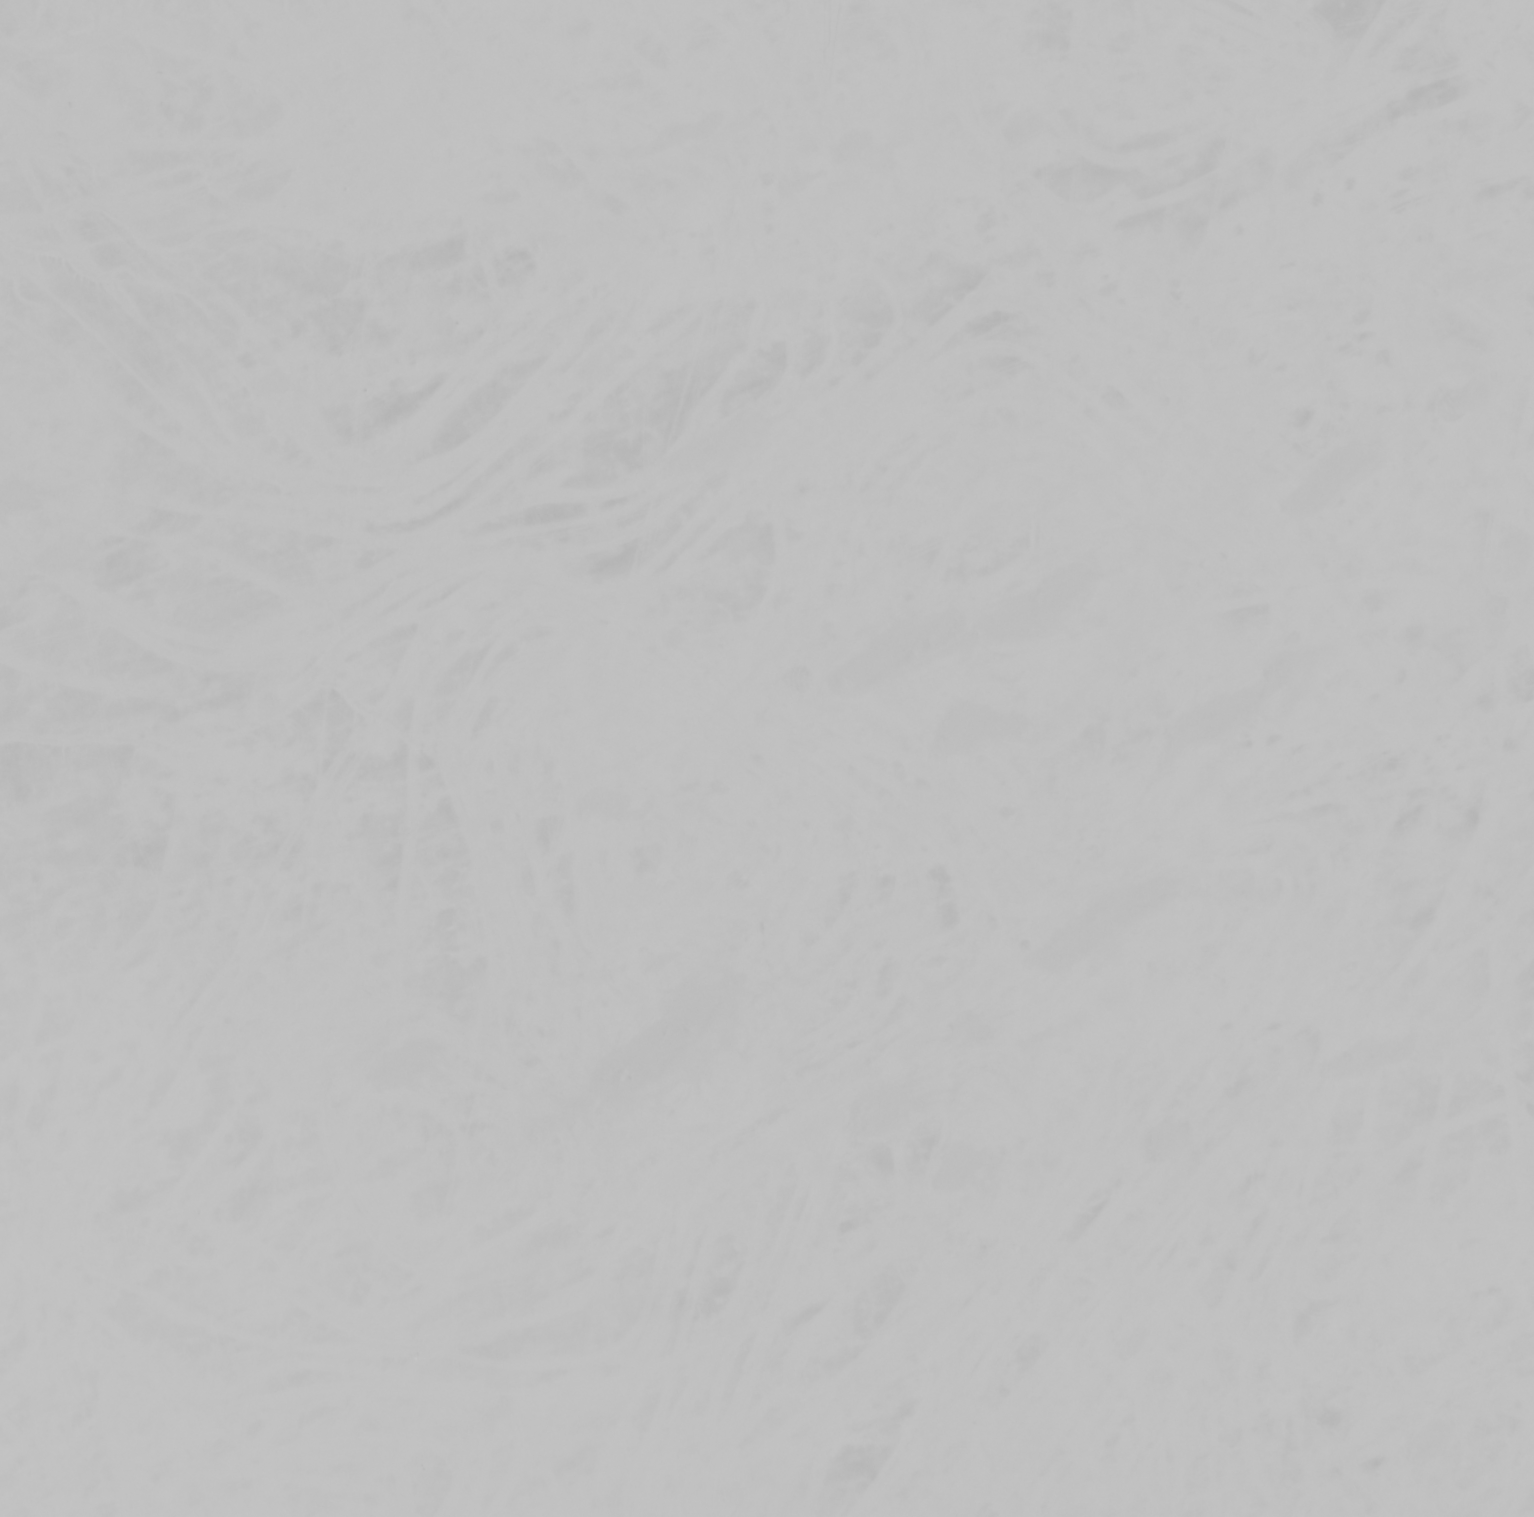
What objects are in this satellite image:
road: (348, 478)
road: (553, 758)

